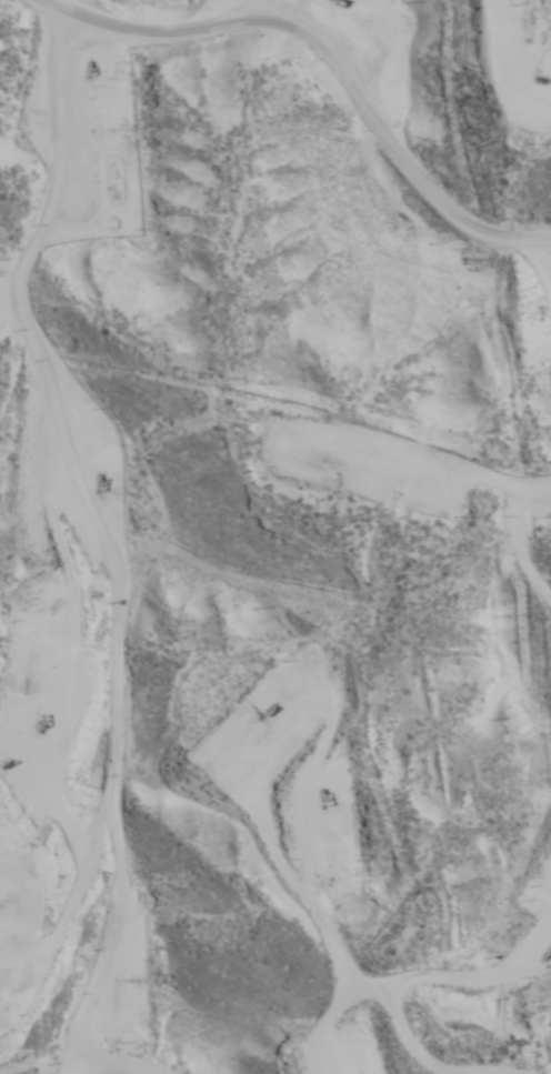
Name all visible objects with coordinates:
road: (292, 17)
road: (315, 59)
road: (71, 126)
road: (180, 576)
road: (431, 931)
road: (121, 944)

